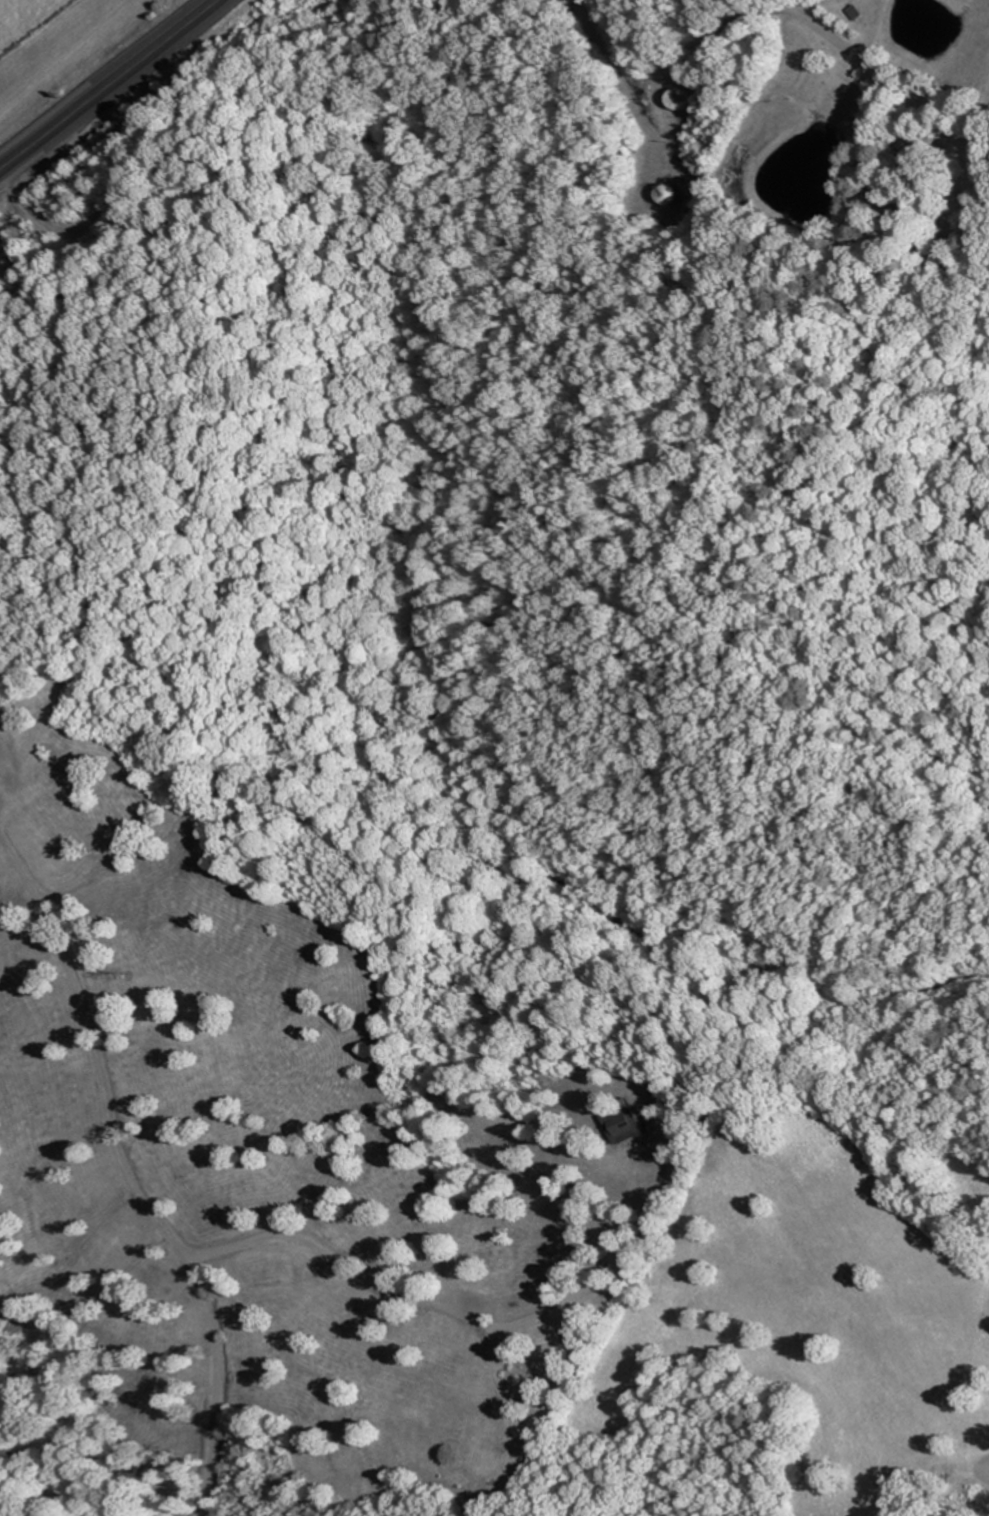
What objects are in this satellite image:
building: (857, 12)
road: (108, 83)
building: (677, 99)
building: (909, 150)
building: (665, 194)
road: (799, 370)

